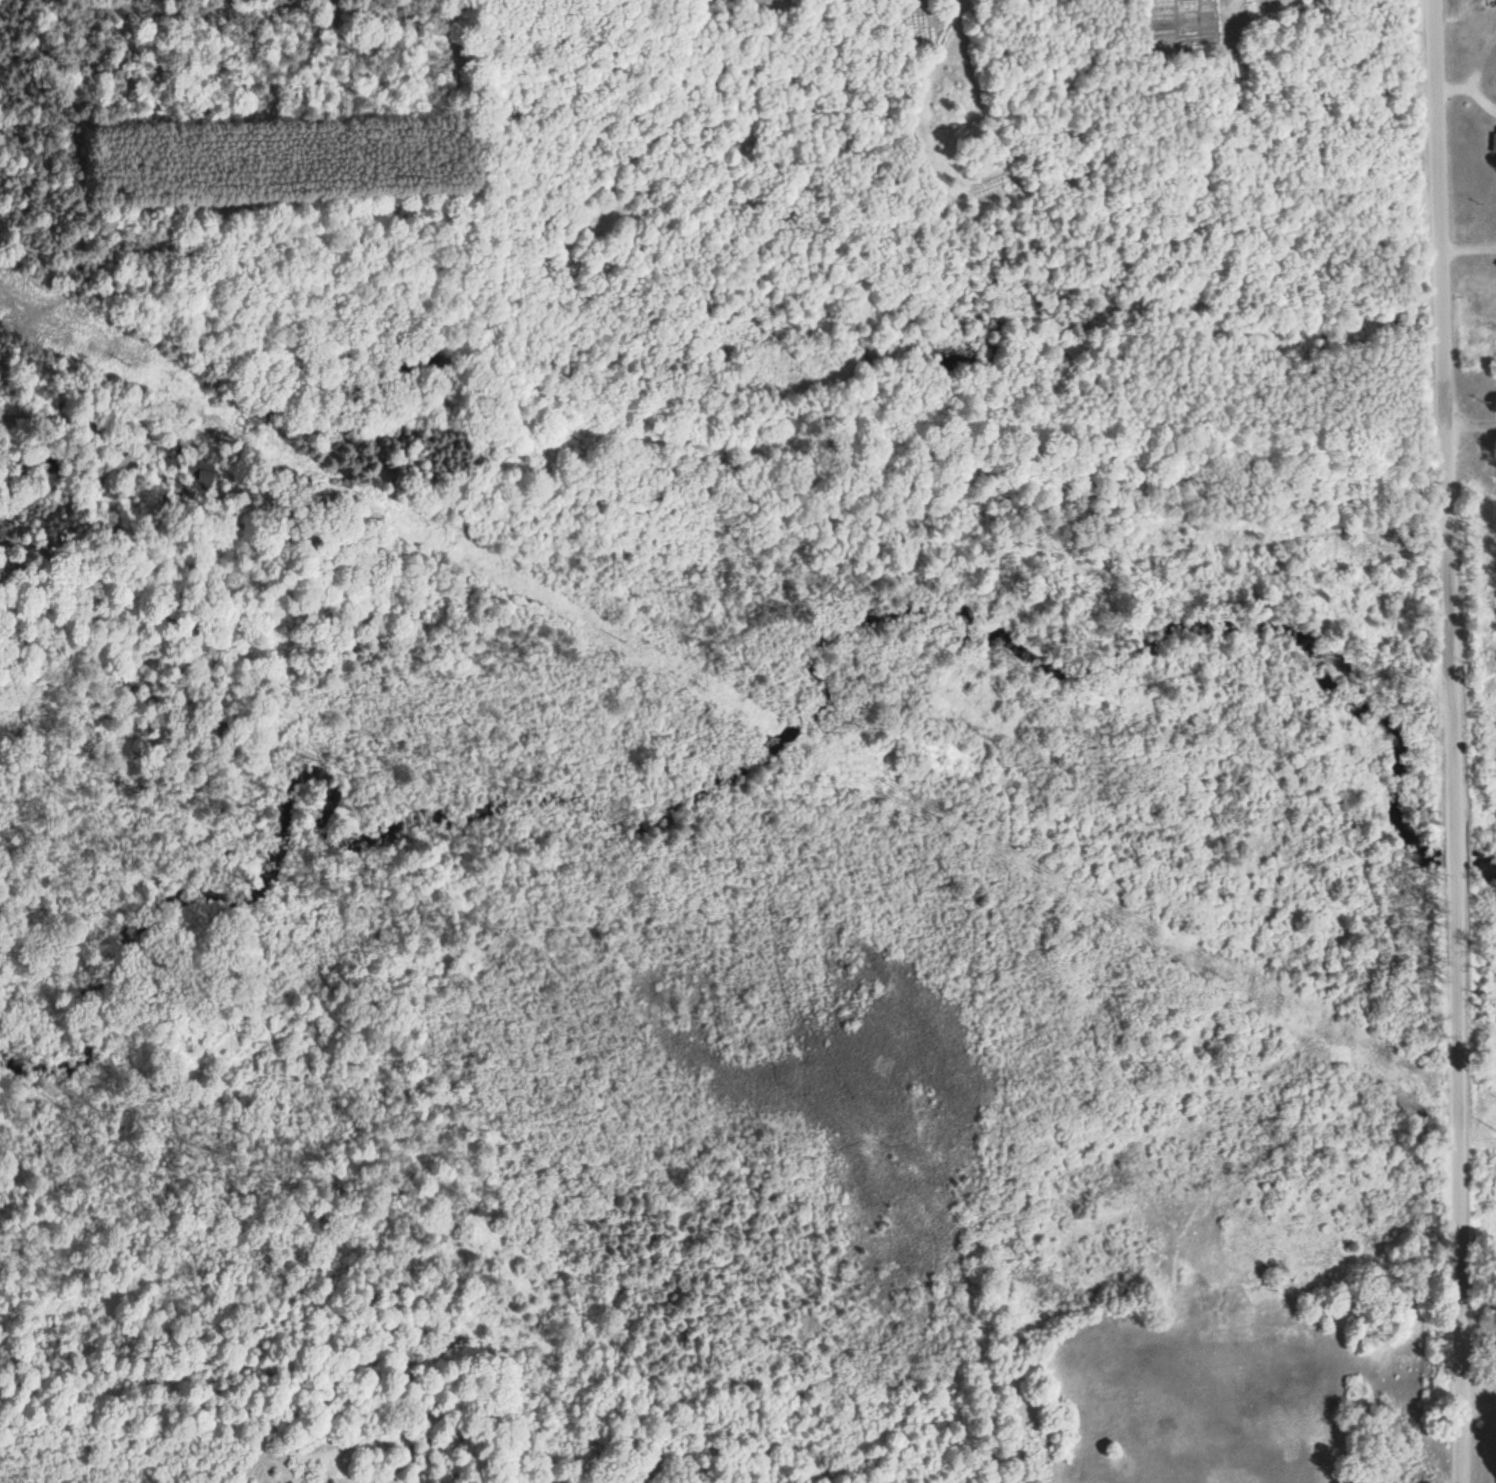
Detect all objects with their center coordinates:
building: (1495, 155)
building: (190, 469)
road: (1448, 741)

